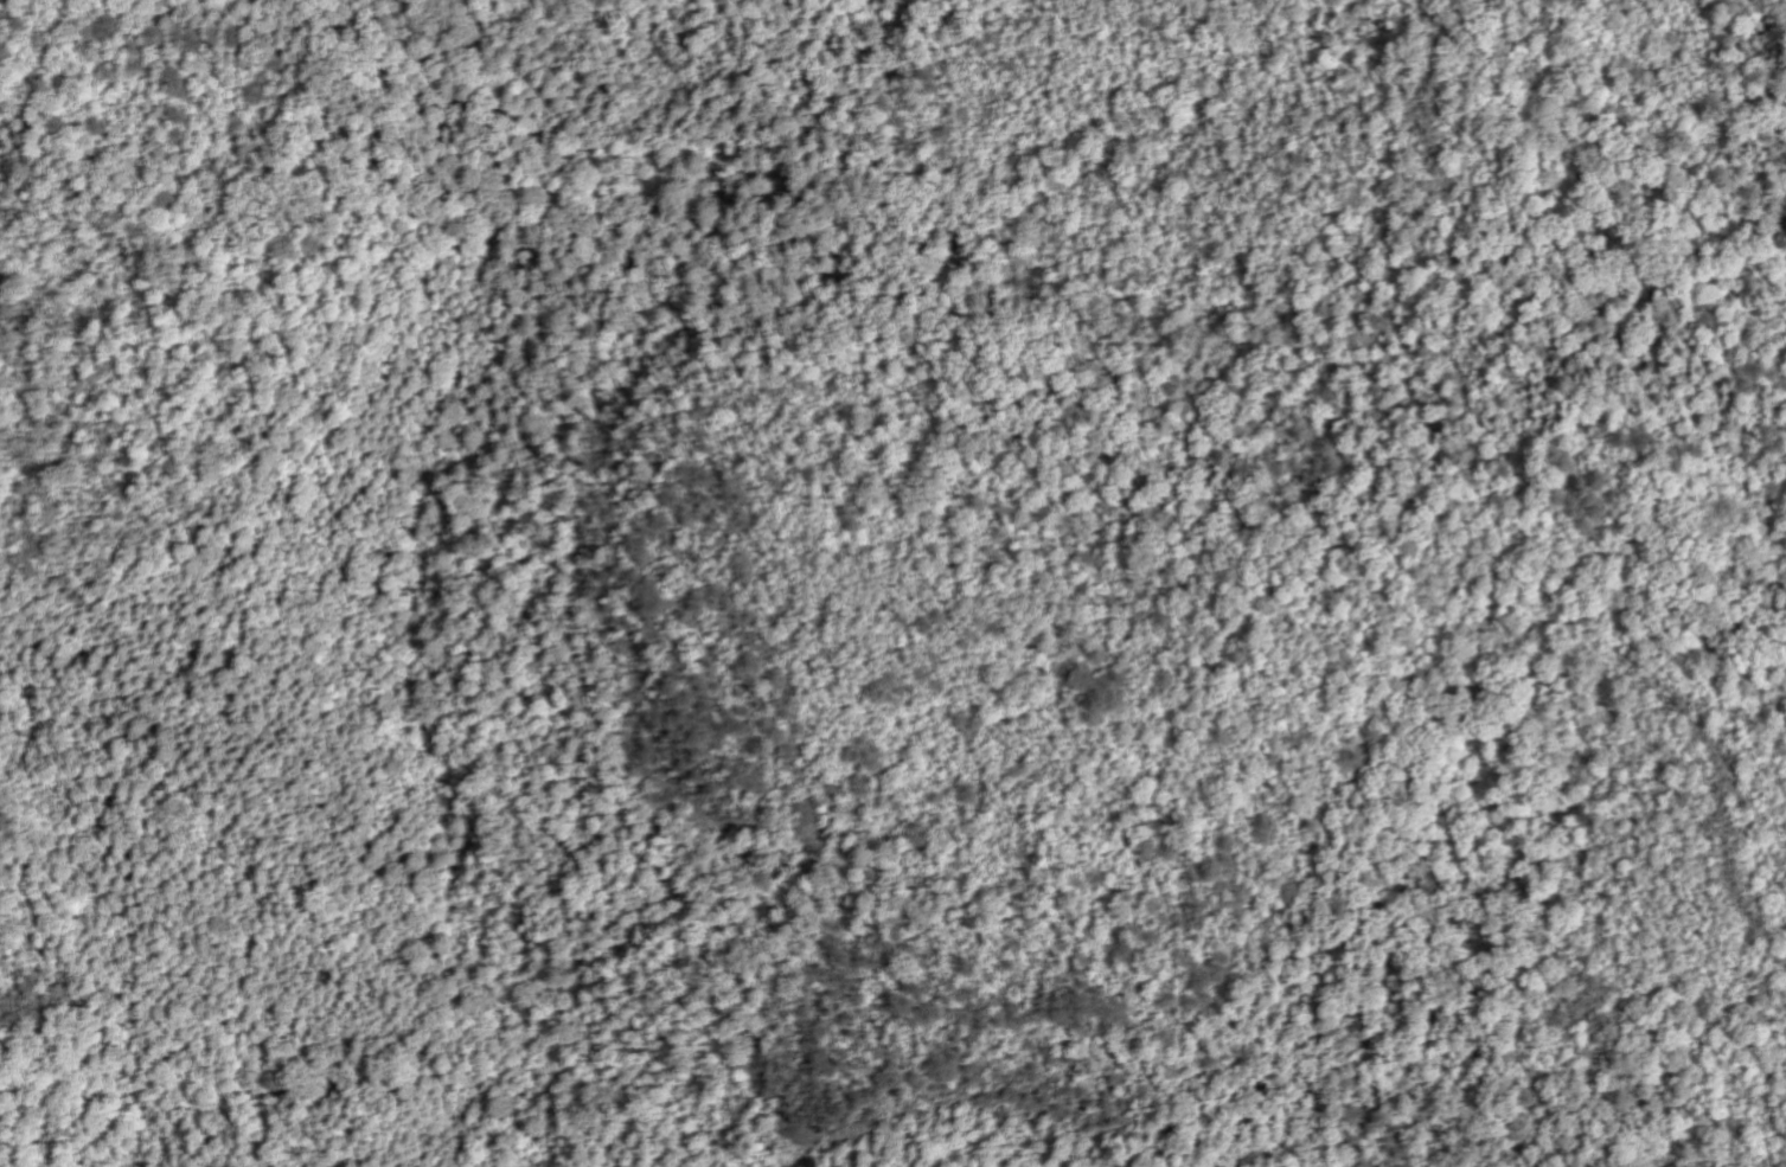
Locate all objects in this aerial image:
road: (1516, 543)

